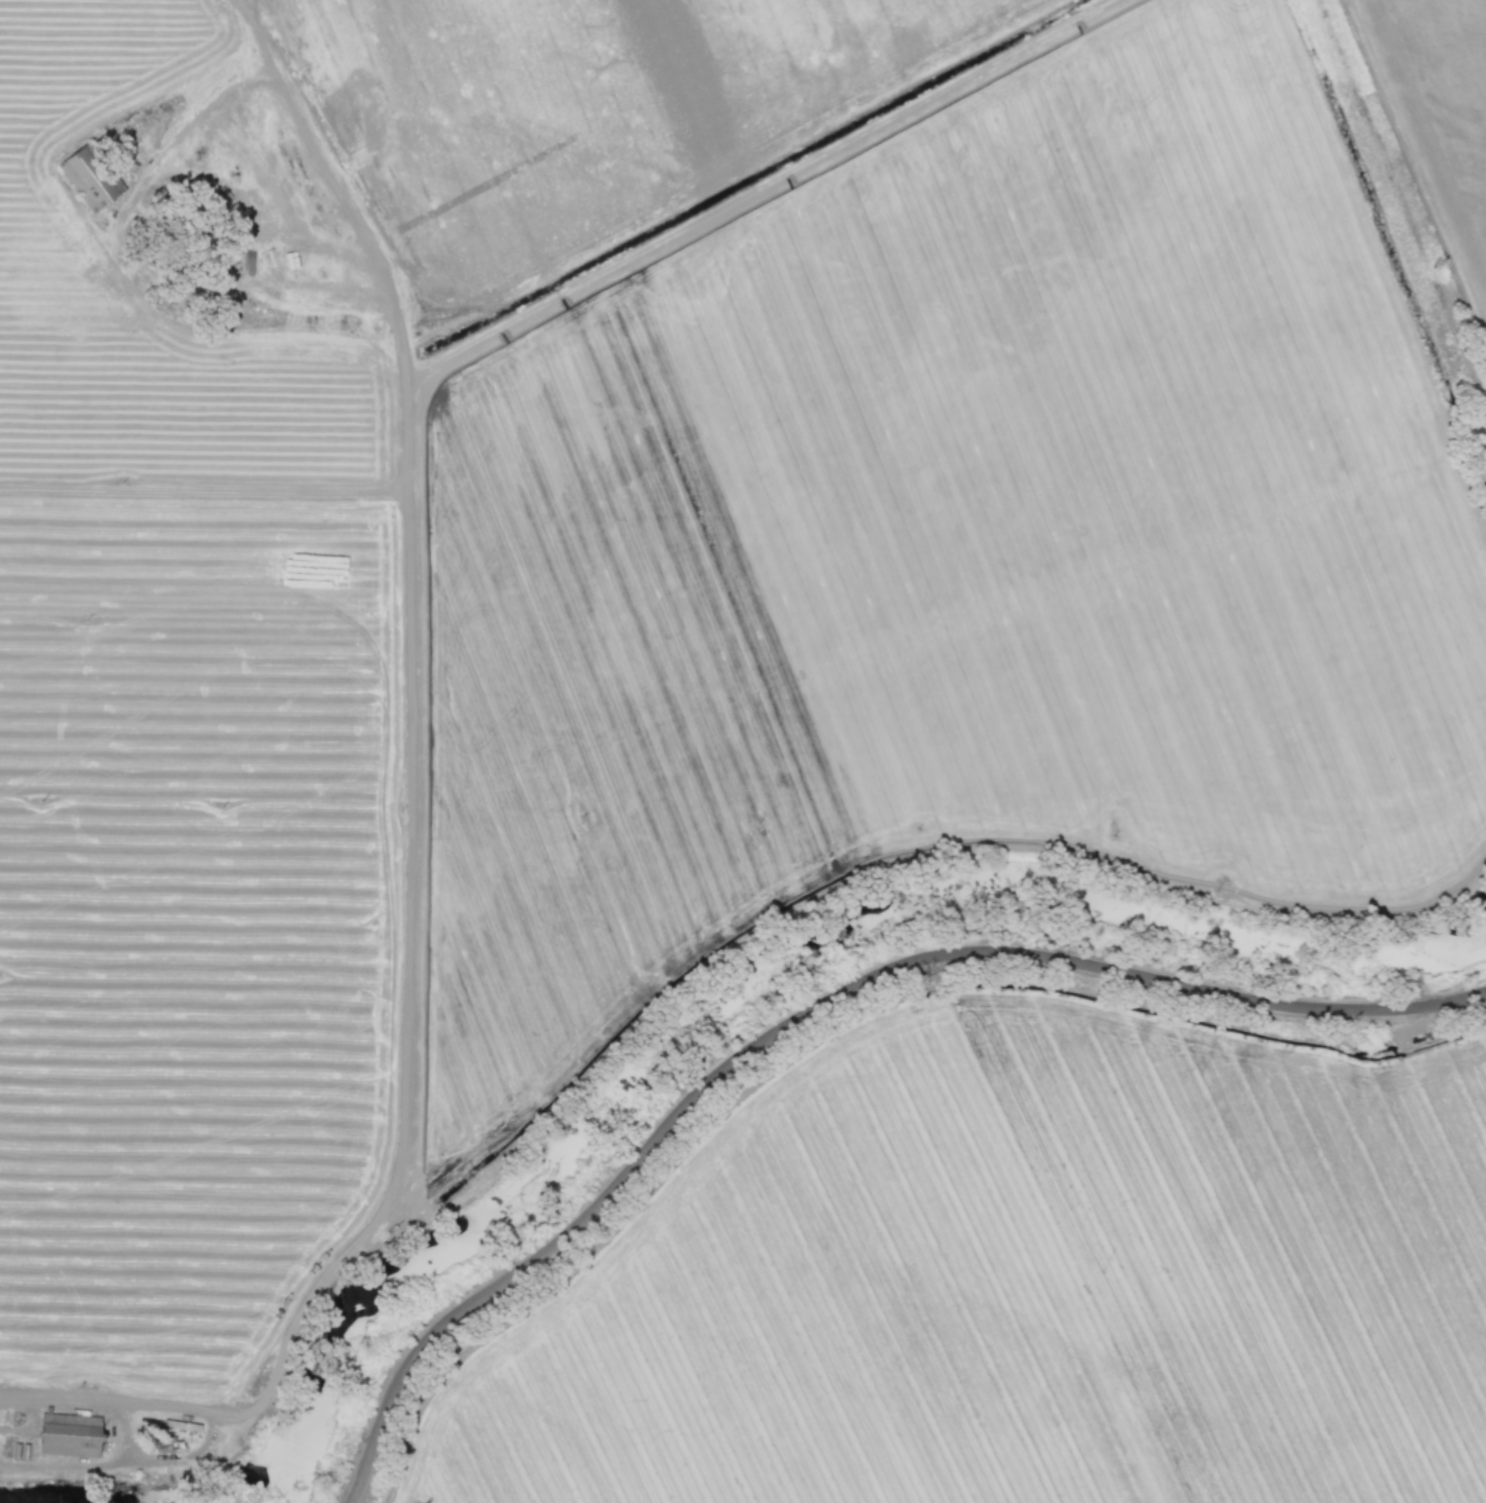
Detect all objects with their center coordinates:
crop: (573, 105)
crop: (1440, 109)
road: (1396, 134)
building: (91, 174)
road: (747, 194)
road: (385, 278)
road: (204, 490)
road: (809, 1005)
road: (404, 1094)
road: (120, 1431)
building: (70, 1434)
road: (124, 1462)

